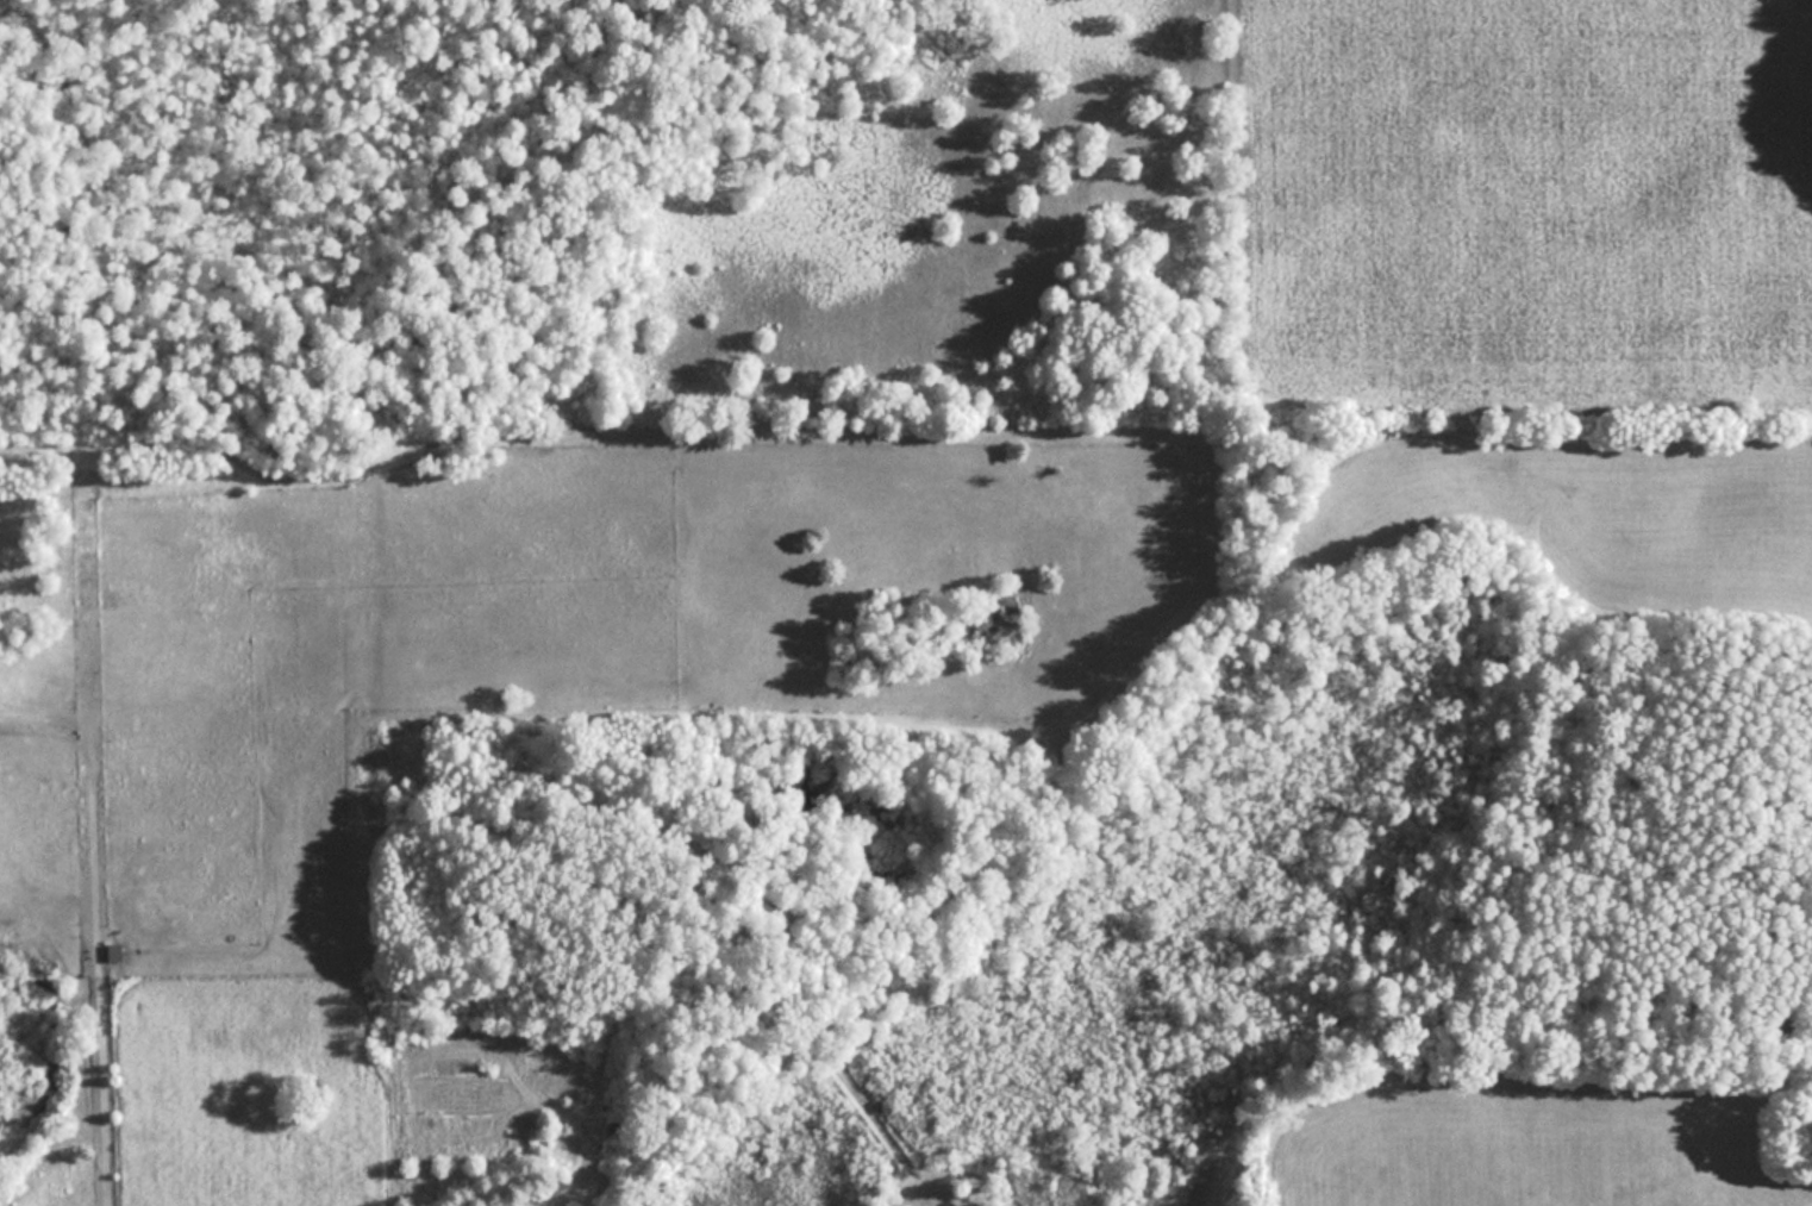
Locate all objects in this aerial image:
building: (113, 951)

